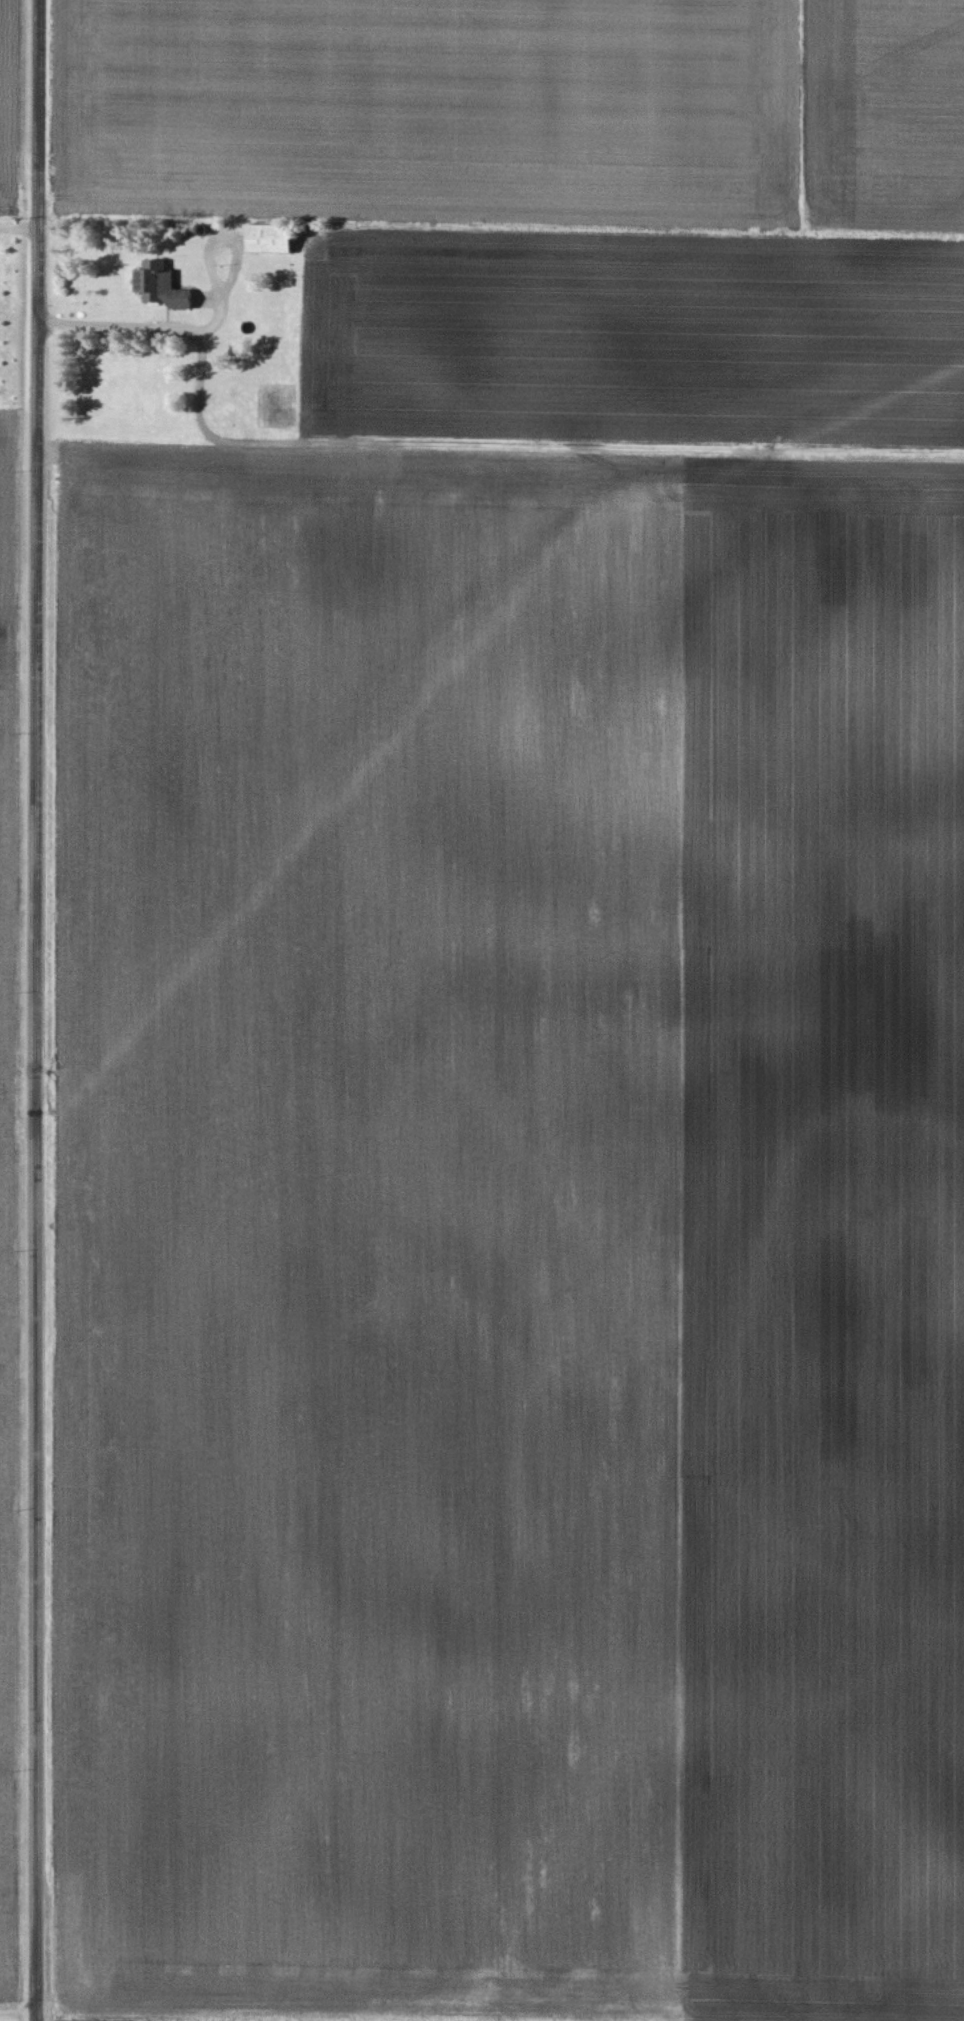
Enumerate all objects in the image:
road: (21, 230)
building: (273, 239)
road: (213, 328)
road: (42, 1010)
road: (17, 2007)

